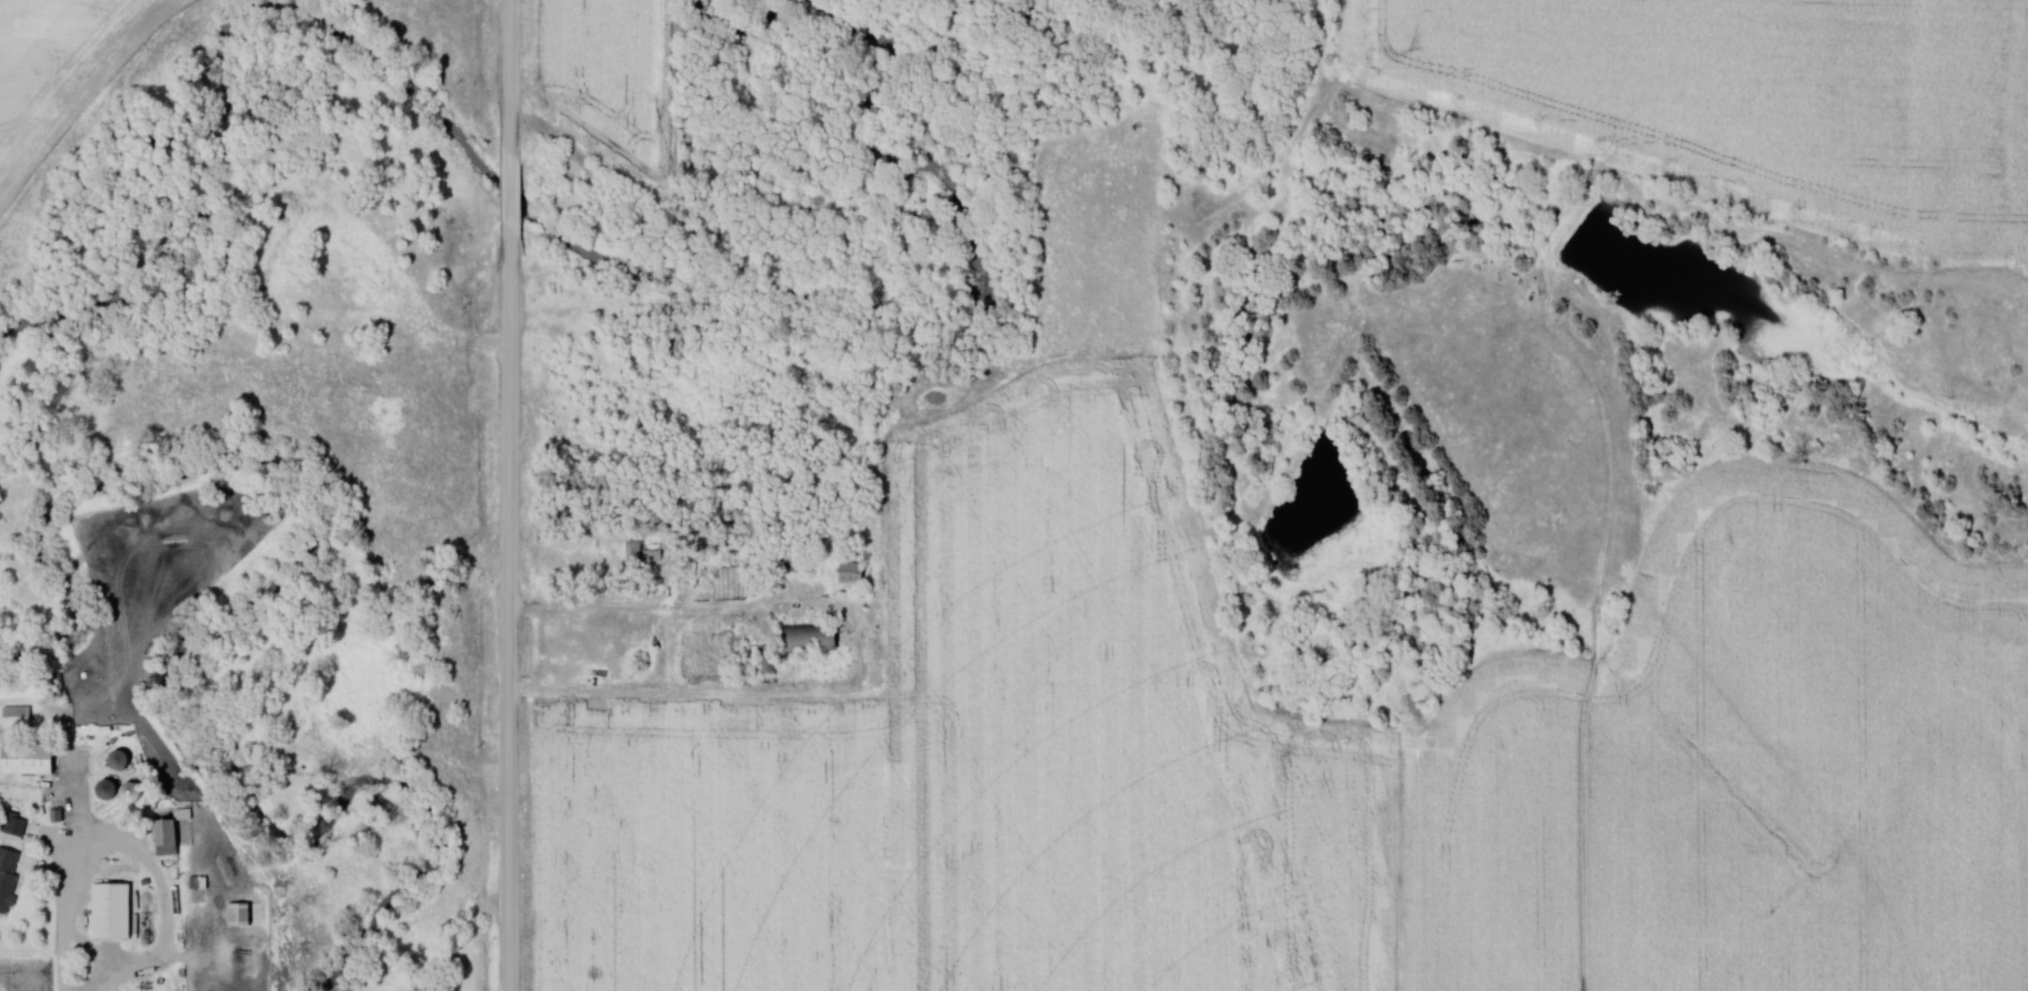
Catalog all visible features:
building: (676, 349)
road: (504, 495)
building: (647, 554)
building: (791, 562)
building: (854, 574)
building: (812, 640)
road: (857, 652)
building: (765, 661)
building: (55, 681)
building: (18, 717)
building: (30, 760)
building: (123, 761)
building: (111, 791)
building: (135, 793)
building: (15, 825)
building: (172, 834)
building: (9, 877)
road: (69, 912)
building: (115, 912)
building: (242, 915)

